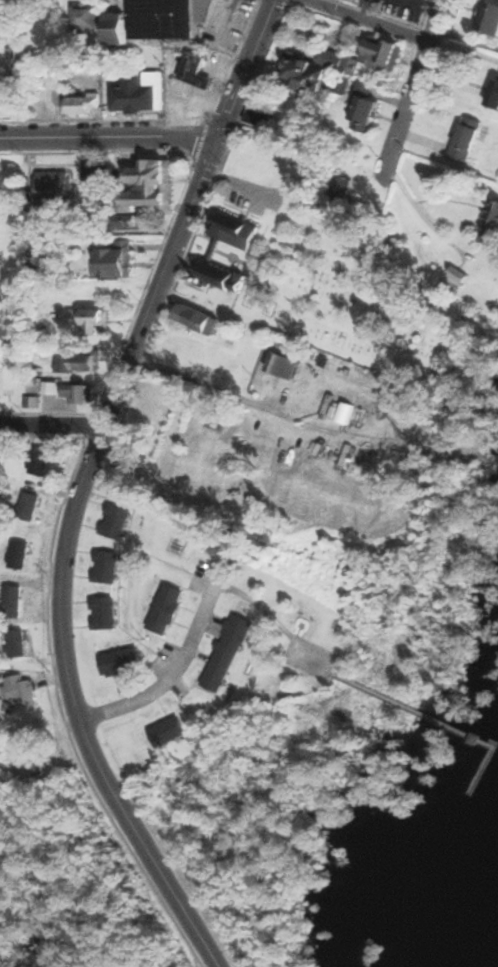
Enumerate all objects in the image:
building: (87, 17)
building: (489, 17)
building: (174, 18)
road: (375, 20)
road: (439, 20)
building: (7, 27)
building: (119, 29)
building: (386, 55)
building: (18, 57)
road: (247, 67)
building: (197, 70)
building: (323, 70)
building: (142, 93)
building: (495, 98)
building: (82, 104)
building: (366, 104)
building: (261, 110)
road: (406, 110)
traffic signals: (220, 135)
road: (110, 136)
building: (469, 141)
building: (150, 187)
building: (54, 188)
building: (342, 189)
road: (424, 217)
building: (128, 221)
building: (493, 222)
building: (236, 231)
building: (117, 261)
building: (36, 267)
building: (219, 276)
building: (459, 279)
building: (200, 319)
building: (92, 320)
building: (179, 345)
building: (256, 357)
building: (79, 363)
building: (288, 365)
road: (195, 386)
building: (51, 388)
building: (0, 393)
building: (79, 393)
building: (33, 402)
building: (163, 406)
road: (52, 424)
building: (0, 457)
building: (42, 461)
building: (487, 463)
building: (117, 488)
building: (30, 506)
building: (116, 521)
building: (21, 555)
road: (64, 556)
building: (107, 567)
building: (15, 602)
building: (167, 610)
building: (105, 614)
building: (18, 644)
building: (229, 654)
building: (123, 662)
road: (179, 669)
building: (23, 693)
building: (170, 732)
building: (32, 753)

